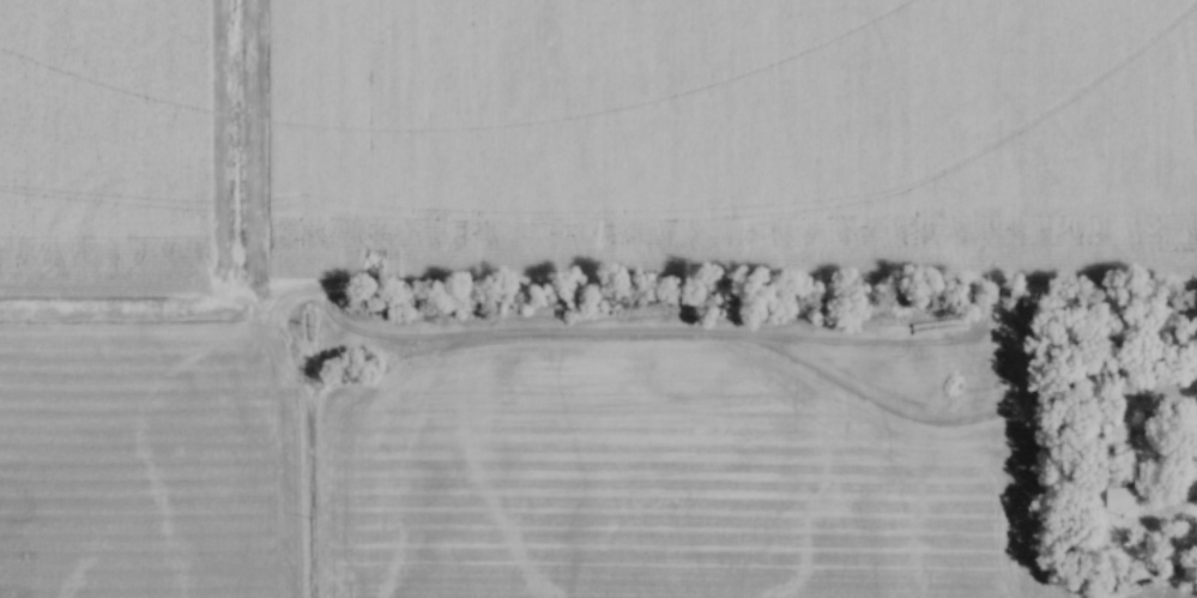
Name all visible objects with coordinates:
building: (1122, 451)
building: (1114, 499)
road: (1162, 509)

